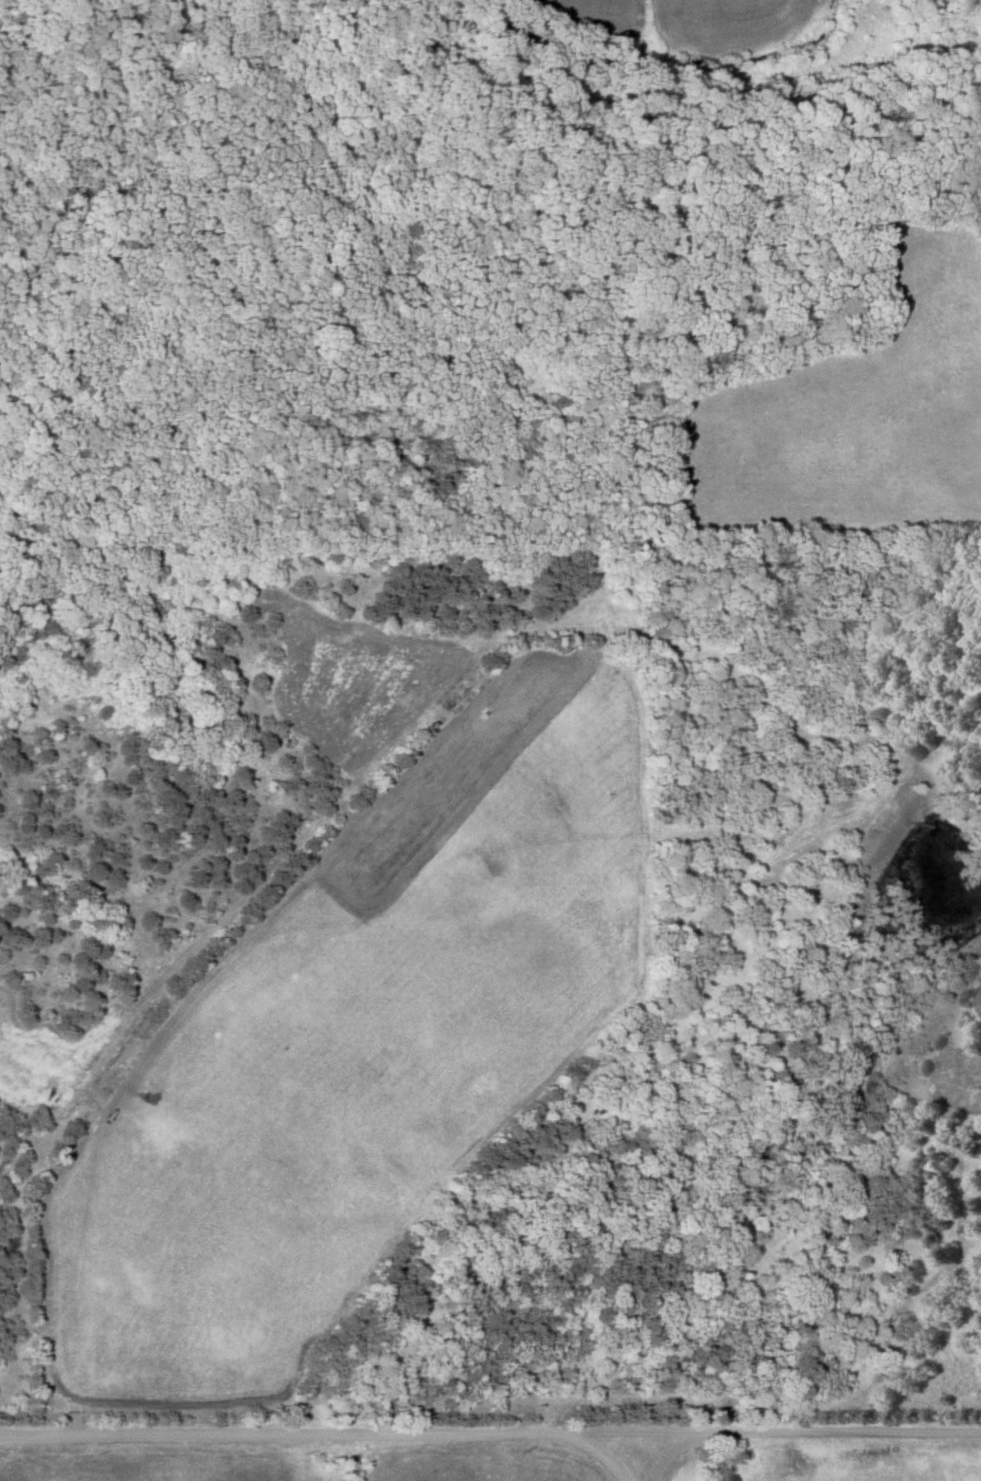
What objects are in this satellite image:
road: (490, 1433)
road: (598, 1449)
road: (673, 1456)

